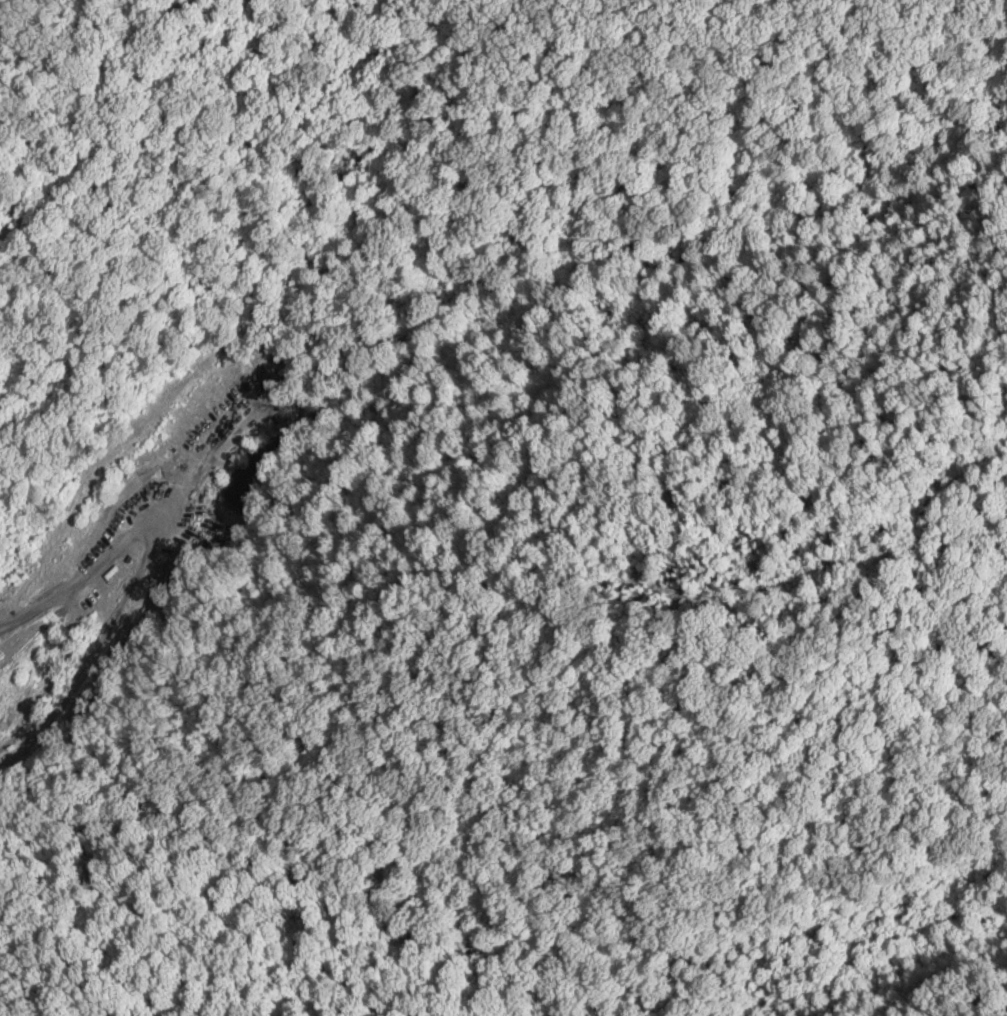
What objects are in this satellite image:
building: (234, 420)

